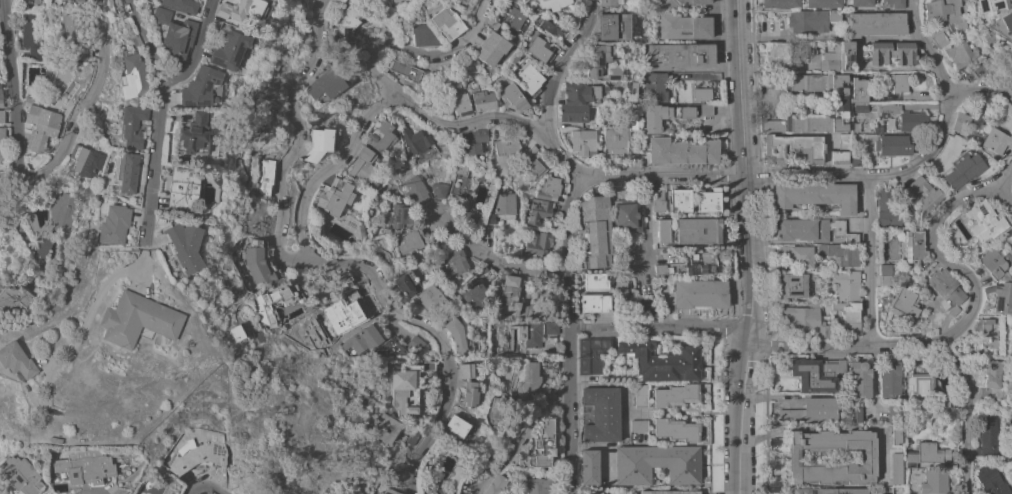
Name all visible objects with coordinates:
building: (79, 0)
building: (401, 0)
building: (523, 0)
building: (32, 1)
building: (393, 1)
building: (456, 2)
building: (681, 2)
building: (781, 3)
building: (823, 3)
building: (861, 3)
building: (895, 3)
building: (551, 4)
building: (607, 4)
building: (181, 5)
building: (992, 5)
building: (240, 9)
building: (945, 13)
building: (512, 16)
building: (571, 20)
building: (812, 20)
building: (346, 21)
building: (1007, 21)
building: (447, 22)
building: (492, 23)
building: (876, 23)
building: (552, 25)
building: (614, 26)
building: (685, 26)
building: (175, 28)
building: (33, 35)
building: (75, 35)
building: (405, 35)
building: (423, 36)
building: (940, 39)
building: (136, 40)
building: (804, 47)
building: (491, 48)
road: (195, 50)
building: (229, 50)
building: (540, 50)
building: (960, 52)
road: (421, 53)
building: (891, 53)
building: (777, 54)
building: (679, 56)
building: (513, 57)
building: (838, 57)
building: (596, 58)
road: (862, 59)
building: (983, 66)
building: (405, 69)
building: (613, 72)
building: (1009, 74)
building: (22, 75)
building: (133, 76)
building: (528, 79)
building: (772, 80)
building: (899, 82)
building: (325, 84)
road: (554, 85)
building: (655, 86)
road: (14, 87)
building: (202, 87)
building: (820, 87)
building: (858, 89)
road: (980, 89)
building: (631, 90)
building: (580, 92)
building: (701, 94)
building: (1, 97)
building: (512, 98)
building: (483, 100)
road: (761, 102)
building: (460, 104)
building: (860, 108)
road: (946, 108)
building: (706, 109)
building: (573, 113)
road: (86, 114)
building: (663, 115)
road: (158, 119)
building: (813, 121)
building: (913, 121)
building: (962, 122)
road: (467, 123)
building: (2, 124)
building: (41, 125)
building: (132, 125)
building: (772, 125)
building: (194, 135)
building: (381, 136)
building: (617, 136)
building: (996, 140)
building: (473, 141)
building: (583, 141)
building: (844, 141)
building: (855, 142)
building: (319, 144)
building: (419, 144)
building: (892, 145)
building: (506, 147)
building: (793, 148)
building: (2, 151)
building: (682, 151)
building: (363, 154)
building: (840, 157)
building: (856, 158)
building: (86, 160)
building: (534, 162)
road: (332, 169)
building: (964, 170)
building: (128, 171)
road: (721, 174)
building: (264, 176)
road: (1002, 177)
building: (461, 182)
building: (182, 187)
building: (415, 188)
building: (549, 188)
building: (439, 190)
building: (815, 196)
building: (335, 197)
building: (931, 198)
building: (680, 199)
building: (658, 200)
building: (709, 200)
building: (505, 204)
building: (887, 209)
building: (539, 211)
building: (63, 212)
building: (397, 216)
building: (470, 217)
building: (490, 217)
building: (626, 218)
building: (984, 220)
building: (115, 224)
building: (803, 229)
building: (663, 230)
building: (698, 230)
building: (842, 230)
building: (483, 231)
building: (593, 233)
building: (361, 238)
building: (411, 240)
building: (1010, 242)
building: (537, 244)
building: (185, 245)
building: (913, 245)
building: (42, 247)
road: (746, 247)
building: (839, 254)
building: (797, 255)
road: (496, 259)
road: (325, 261)
road: (868, 261)
building: (455, 262)
building: (993, 262)
building: (260, 263)
building: (701, 263)
building: (885, 269)
building: (663, 270)
building: (487, 272)
building: (342, 279)
building: (884, 280)
building: (594, 281)
building: (407, 283)
building: (845, 284)
building: (794, 285)
building: (945, 285)
building: (511, 294)
building: (621, 294)
building: (474, 295)
building: (700, 296)
building: (14, 297)
building: (1001, 297)
building: (430, 298)
road: (95, 300)
building: (903, 302)
building: (264, 303)
building: (595, 303)
building: (953, 310)
building: (849, 316)
building: (335, 317)
building: (138, 319)
building: (807, 320)
road: (964, 323)
building: (551, 327)
road: (661, 328)
road: (572, 332)
building: (238, 333)
building: (456, 333)
building: (987, 333)
building: (514, 336)
building: (532, 336)
building: (365, 338)
building: (415, 343)
building: (592, 353)
building: (16, 359)
building: (662, 361)
building: (551, 364)
building: (428, 365)
building: (816, 374)
building: (993, 374)
building: (889, 378)
building: (527, 379)
building: (859, 379)
building: (469, 385)
building: (920, 386)
building: (405, 389)
building: (641, 395)
building: (676, 395)
building: (945, 404)
building: (495, 407)
building: (812, 411)
road: (966, 413)
building: (602, 414)
building: (855, 414)
building: (895, 414)
building: (639, 425)
building: (458, 427)
building: (385, 428)
building: (676, 429)
building: (896, 435)
road: (521, 436)
building: (987, 437)
building: (541, 446)
building: (929, 453)
building: (867, 457)
building: (1008, 458)
building: (657, 464)
building: (83, 465)
building: (589, 466)
building: (896, 468)
building: (21, 475)
building: (933, 481)
building: (992, 481)
building: (496, 484)
building: (538, 485)
road: (206, 486)
building: (388, 491)
building: (829, 491)
building: (595, 492)
building: (670, 492)
road: (100, 493)
building: (607, 493)

